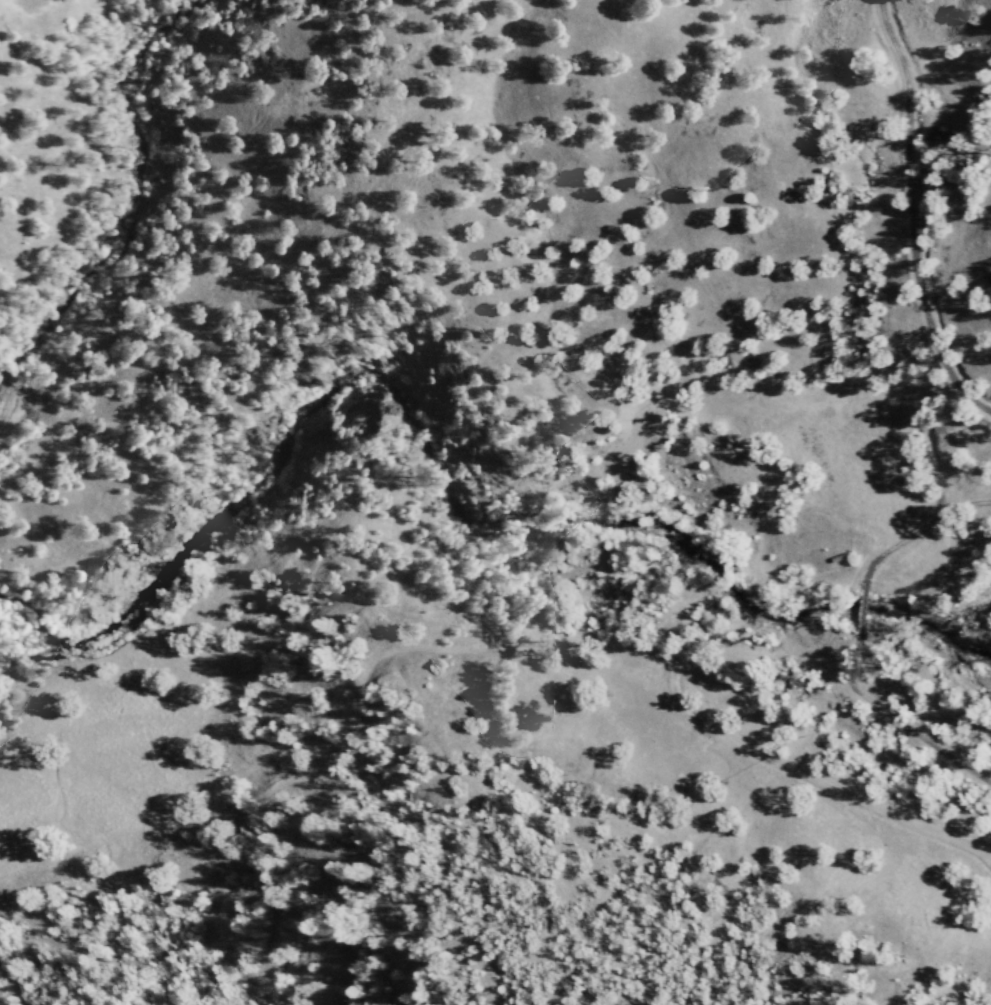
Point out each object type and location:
road: (908, 217)
road: (873, 562)
road: (882, 713)

